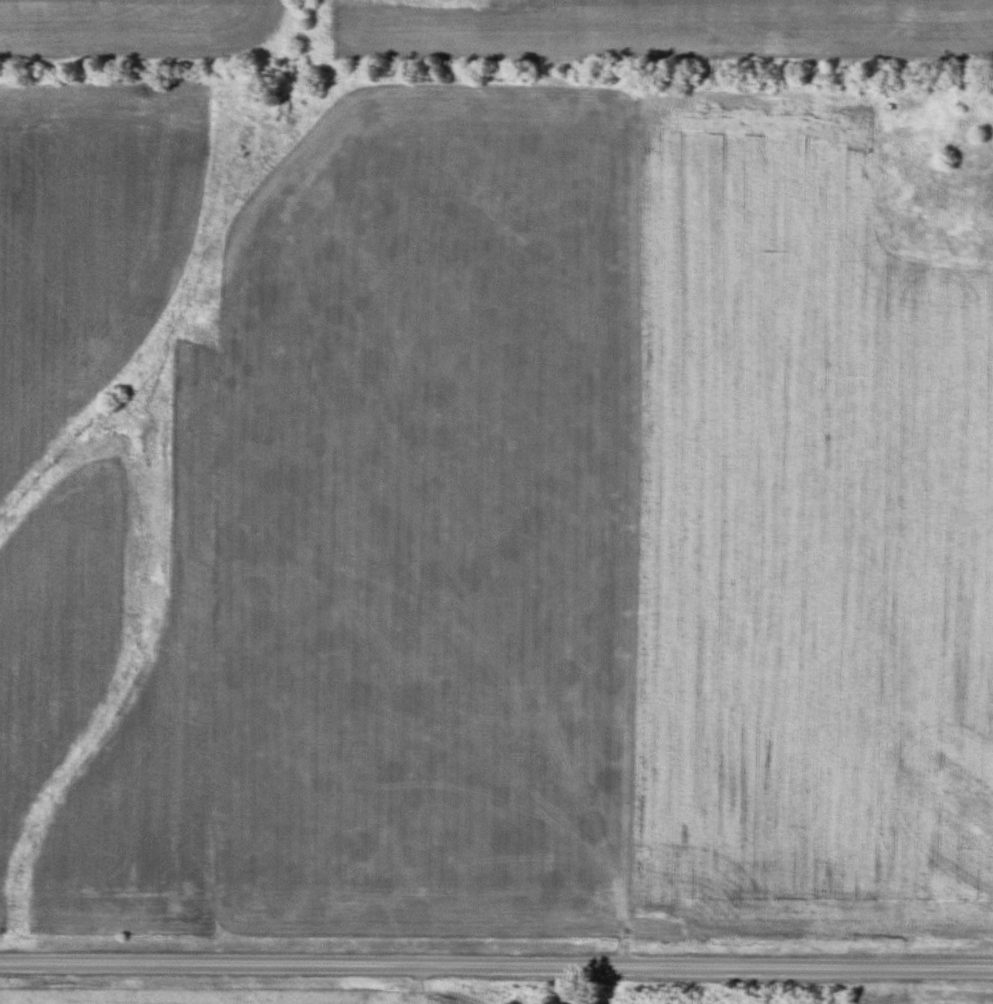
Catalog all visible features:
road: (496, 967)

